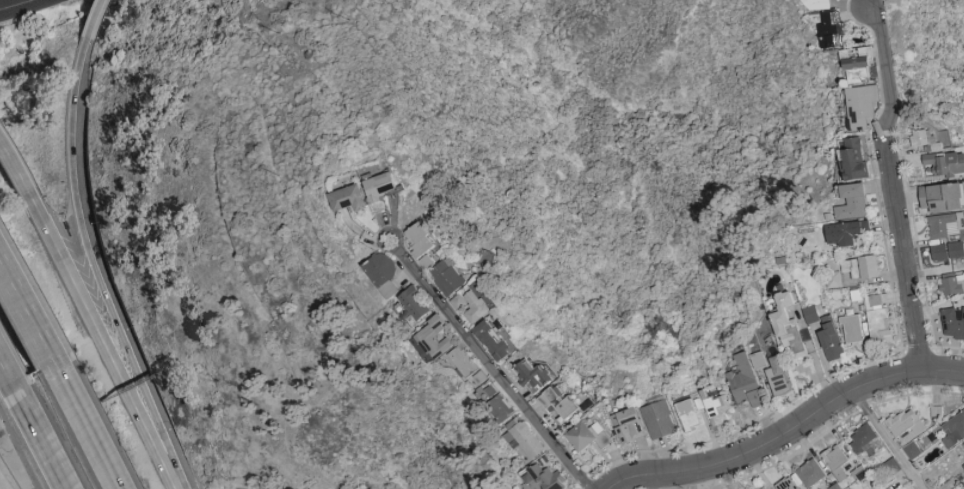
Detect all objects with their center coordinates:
road: (14, 4)
building: (815, 4)
road: (86, 19)
building: (832, 30)
building: (856, 64)
building: (860, 105)
building: (930, 138)
building: (852, 159)
building: (945, 162)
road: (16, 170)
building: (380, 186)
road: (896, 188)
building: (941, 197)
building: (349, 198)
building: (850, 201)
building: (845, 232)
building: (946, 235)
building: (424, 244)
building: (489, 257)
building: (867, 266)
road: (93, 269)
building: (849, 270)
building: (384, 273)
building: (450, 276)
building: (832, 279)
building: (952, 283)
building: (461, 301)
building: (416, 304)
building: (478, 307)
road: (23, 312)
building: (810, 314)
building: (876, 316)
building: (952, 324)
building: (786, 325)
building: (851, 328)
building: (497, 339)
building: (830, 339)
building: (433, 340)
road: (104, 345)
road: (494, 366)
building: (474, 372)
building: (533, 375)
road: (1, 376)
building: (777, 376)
building: (746, 378)
building: (559, 403)
building: (501, 407)
building: (715, 407)
building: (689, 413)
building: (658, 419)
road: (80, 422)
building: (905, 422)
building: (628, 424)
building: (953, 429)
road: (788, 432)
road: (26, 434)
building: (587, 435)
building: (861, 437)
road: (886, 439)
building: (526, 440)
building: (911, 450)
building: (836, 463)
building: (963, 465)
building: (809, 473)
building: (859, 473)
road: (2, 478)
building: (543, 478)
road: (2, 479)
road: (900, 481)
building: (786, 484)
road: (5, 485)
building: (835, 486)
building: (763, 487)

